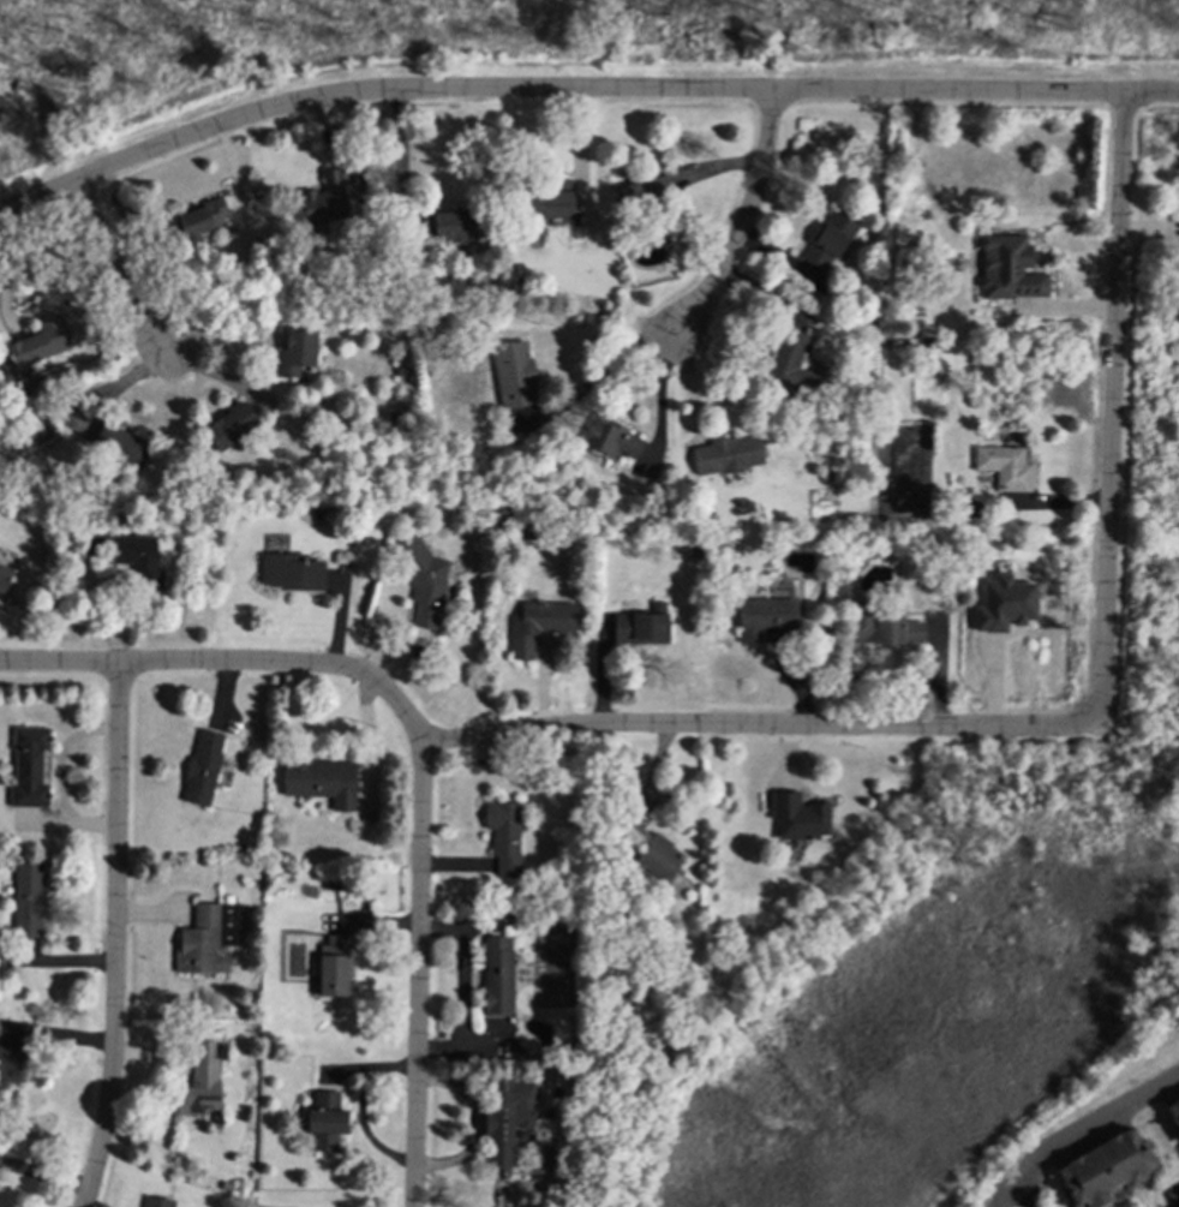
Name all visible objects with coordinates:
road: (579, 88)
road: (581, 154)
building: (551, 202)
road: (744, 219)
building: (202, 225)
building: (449, 226)
building: (828, 241)
road: (113, 267)
building: (1009, 268)
building: (38, 342)
building: (297, 354)
building: (790, 360)
building: (514, 374)
road: (597, 376)
road: (1113, 410)
building: (232, 424)
building: (611, 437)
building: (120, 444)
building: (728, 458)
building: (1004, 466)
road: (1042, 502)
building: (130, 552)
building: (798, 563)
building: (289, 572)
building: (4, 573)
building: (424, 581)
building: (1004, 604)
building: (762, 619)
building: (538, 625)
building: (641, 626)
building: (881, 628)
road: (801, 647)
road: (526, 730)
road: (370, 740)
building: (29, 766)
building: (203, 766)
building: (322, 781)
building: (798, 817)
building: (504, 836)
building: (647, 849)
building: (28, 900)
road: (115, 937)
building: (208, 938)
building: (333, 967)
road: (417, 974)
building: (497, 975)
building: (202, 1078)
building: (1173, 1112)
building: (507, 1117)
building: (325, 1121)
road: (1078, 1131)
building: (1105, 1169)
road: (1021, 1196)
road: (1178, 1206)

